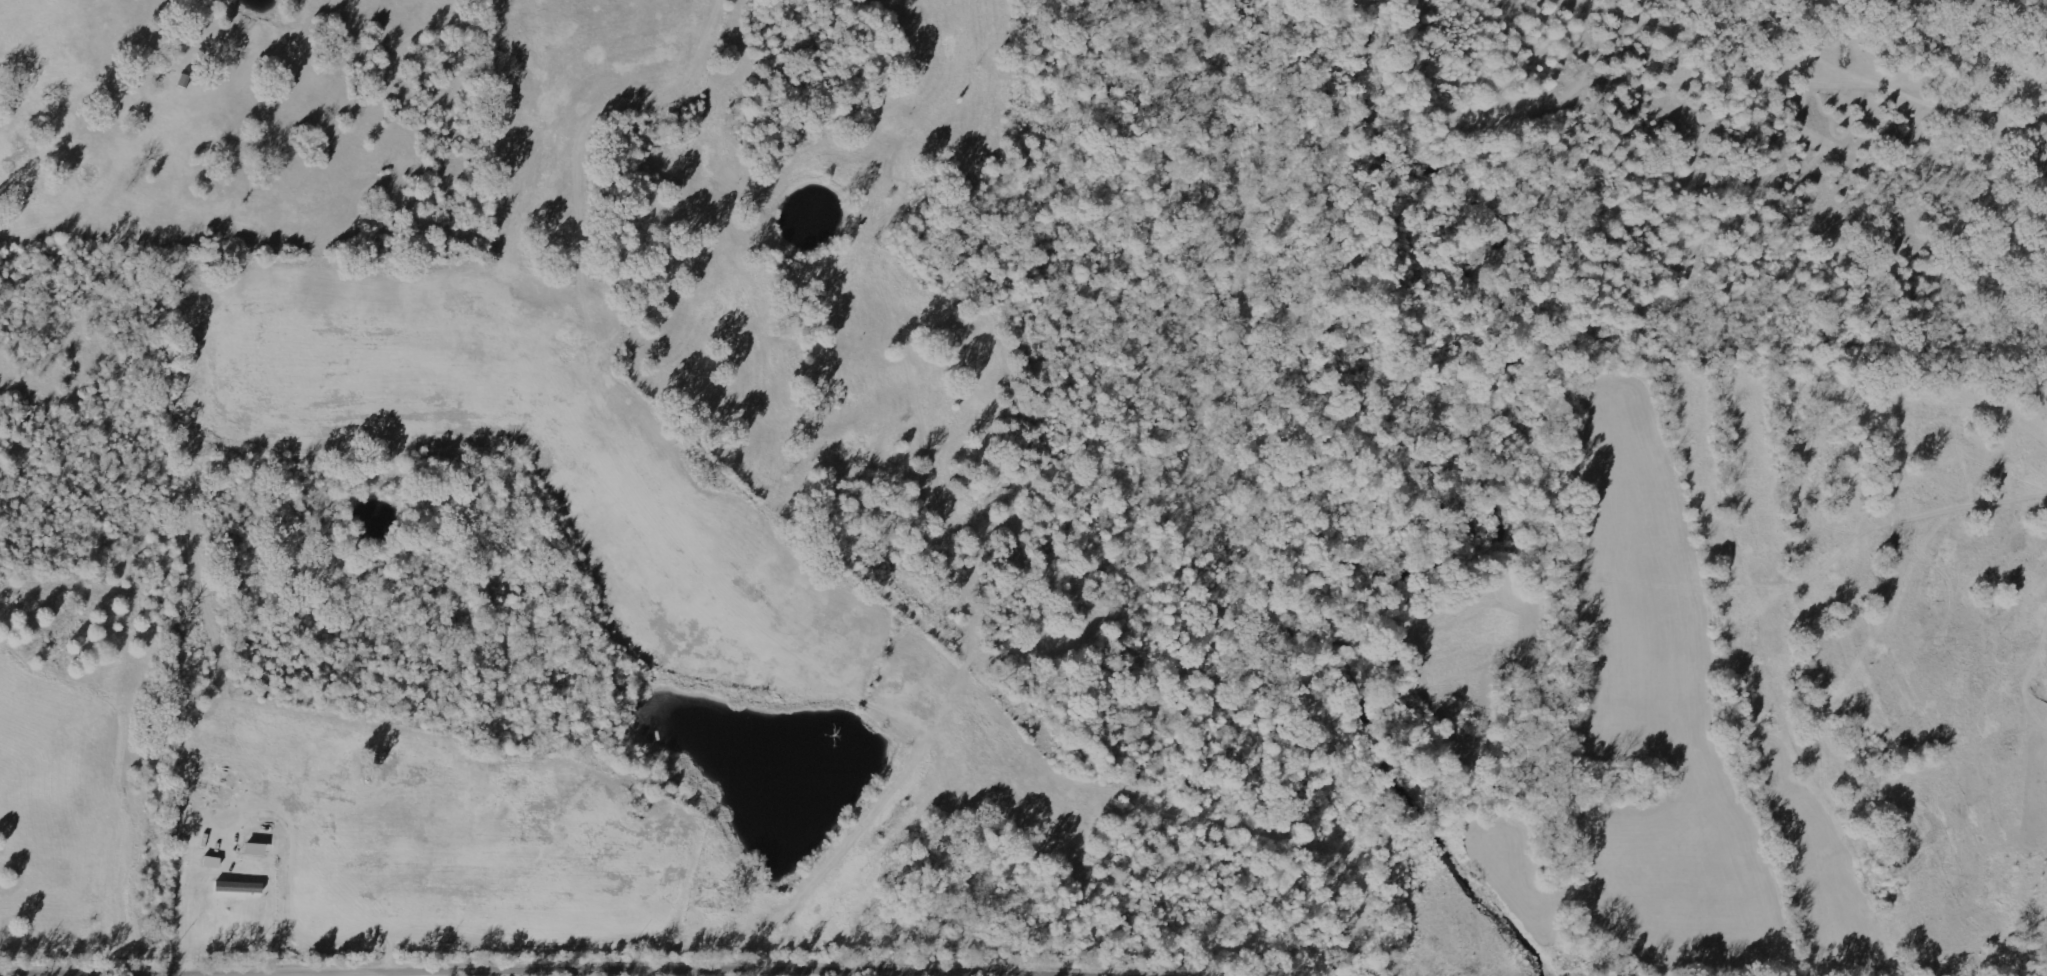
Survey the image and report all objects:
building: (251, 849)
road: (610, 973)

